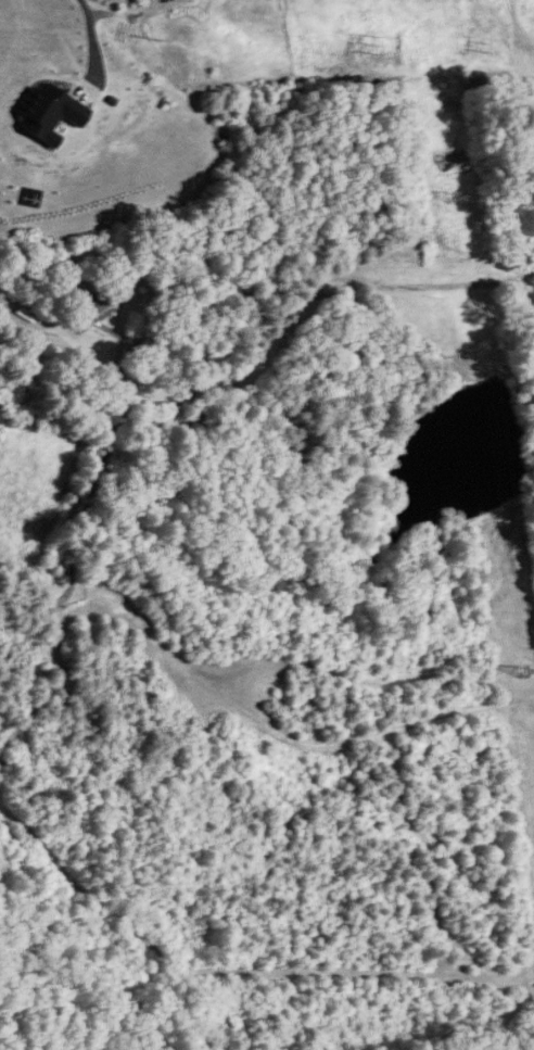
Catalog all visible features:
road: (84, 37)
power tower: (450, 194)
building: (136, 269)
road: (432, 280)
building: (99, 305)
road: (166, 419)
road: (109, 433)
power tower: (524, 673)

